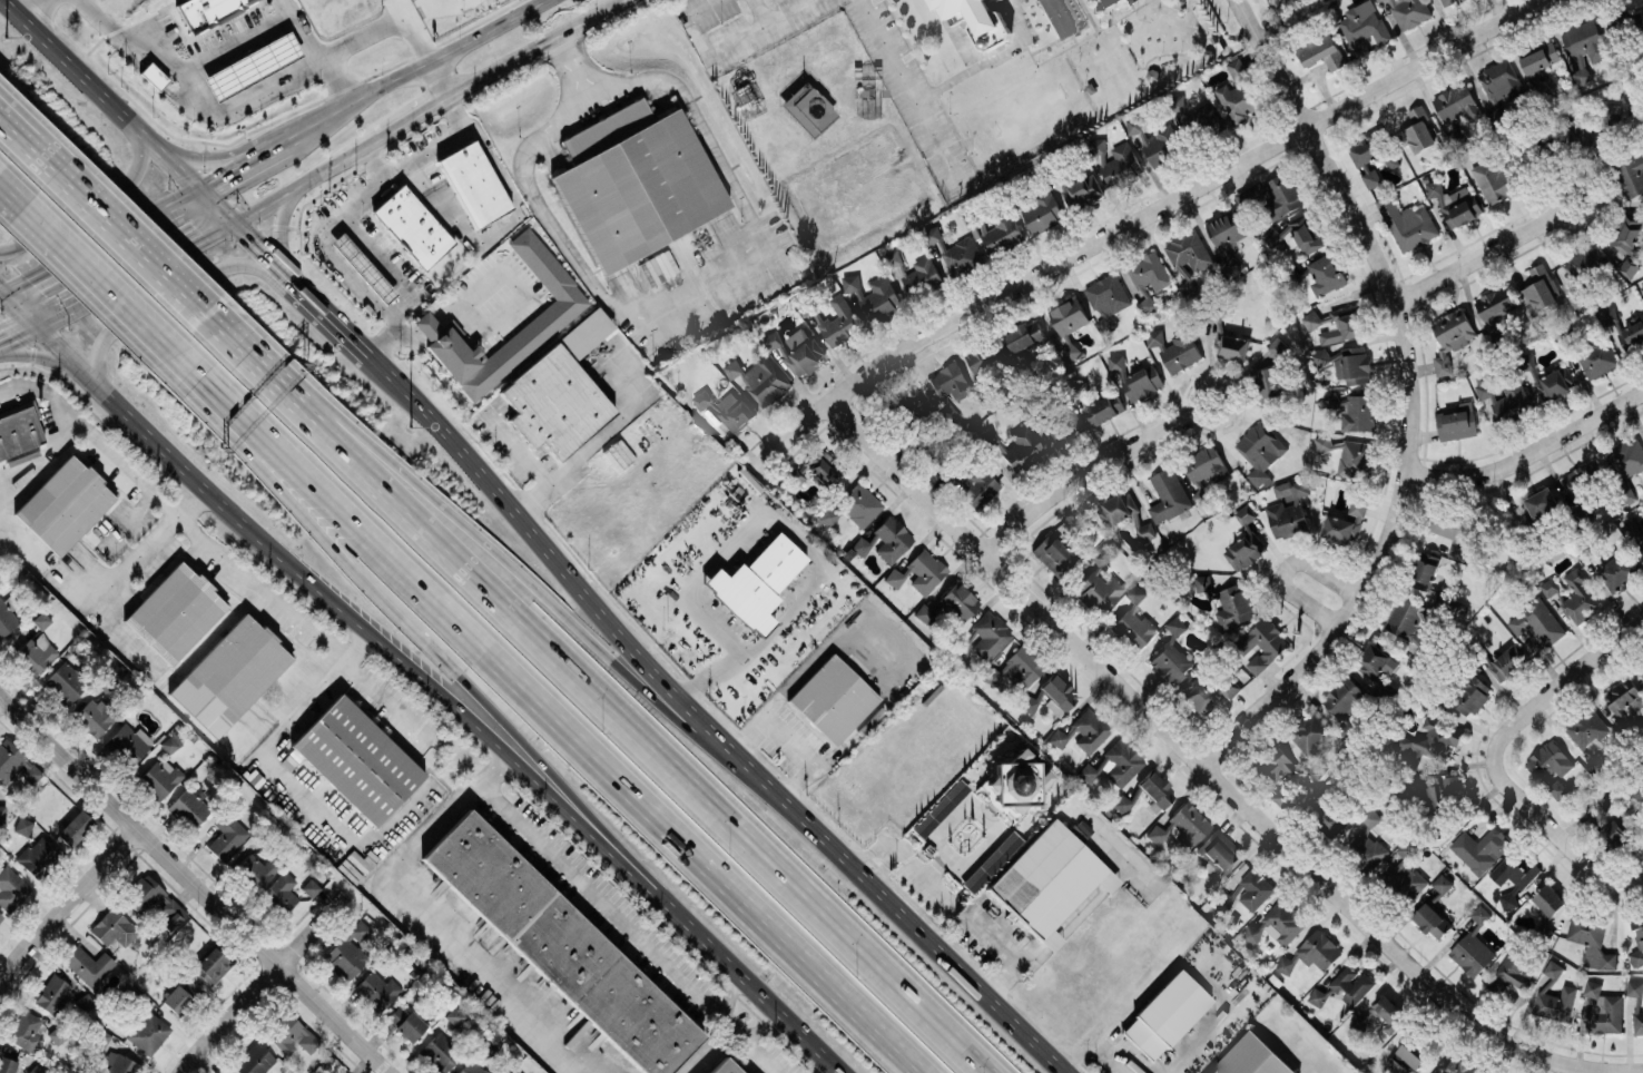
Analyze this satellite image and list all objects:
building: (1380, 0)
building: (1446, 1)
road: (417, 9)
building: (207, 10)
road: (395, 10)
road: (696, 10)
road: (45, 11)
road: (761, 11)
building: (1409, 11)
building: (972, 13)
building: (1062, 16)
building: (1364, 27)
road: (758, 28)
building: (1584, 40)
road: (533, 48)
building: (1322, 52)
road: (568, 57)
building: (1538, 60)
building: (252, 65)
building: (1581, 71)
road: (341, 77)
road: (437, 80)
building: (1501, 81)
road: (249, 92)
building: (1239, 92)
road: (912, 96)
building: (1456, 105)
building: (807, 108)
road: (411, 117)
building: (1196, 119)
road: (289, 124)
building: (1133, 126)
building: (1419, 130)
building: (1590, 135)
road: (154, 139)
road: (270, 145)
building: (1162, 145)
building: (1371, 148)
road: (186, 152)
road: (72, 160)
road: (373, 161)
building: (1121, 164)
road: (71, 173)
building: (1370, 175)
building: (1630, 176)
road: (306, 178)
building: (633, 181)
building: (1494, 181)
traffic signals: (203, 183)
building: (472, 184)
building: (1083, 191)
building: (1272, 196)
road: (101, 200)
building: (1455, 203)
road: (1555, 203)
building: (1042, 211)
road: (338, 213)
road: (511, 217)
road: (1140, 217)
traffic signals: (237, 219)
building: (1407, 223)
road: (279, 224)
building: (411, 227)
building: (1002, 233)
building: (1306, 233)
building: (1227, 234)
building: (1270, 235)
building: (1625, 235)
building: (954, 249)
building: (1188, 257)
road: (1478, 257)
building: (893, 258)
road: (383, 262)
building: (1630, 265)
building: (362, 267)
road: (87, 270)
building: (1326, 274)
building: (1581, 274)
building: (922, 276)
building: (1149, 277)
road: (185, 278)
building: (850, 282)
road: (119, 284)
road: (693, 287)
building: (1541, 287)
building: (1642, 288)
road: (174, 294)
building: (1109, 294)
building: (882, 297)
building: (1495, 303)
road: (458, 308)
building: (555, 313)
road: (336, 314)
building: (1069, 315)
building: (838, 322)
building: (1337, 323)
traffic signals: (42, 327)
building: (1022, 335)
building: (1450, 337)
road: (385, 338)
building: (1231, 345)
building: (1278, 346)
building: (1174, 348)
building: (1069, 351)
building: (796, 352)
building: (1596, 357)
building: (1317, 358)
building: (981, 360)
road: (51, 361)
building: (1351, 364)
road: (277, 368)
building: (761, 378)
building: (1135, 378)
building: (950, 381)
building: (1551, 382)
road: (1191, 395)
building: (702, 397)
road: (1409, 397)
building: (1505, 398)
building: (553, 402)
building: (913, 404)
building: (1104, 408)
building: (1351, 410)
building: (736, 412)
building: (947, 413)
building: (1456, 421)
building: (1063, 425)
building: (19, 429)
road: (600, 434)
road: (91, 435)
building: (1322, 442)
building: (1020, 445)
building: (1260, 450)
road: (519, 451)
road: (1529, 452)
building: (1355, 459)
building: (1625, 462)
building: (815, 467)
building: (1204, 467)
road: (1083, 474)
building: (1584, 476)
building: (975, 485)
building: (1168, 494)
building: (1541, 502)
building: (63, 503)
building: (860, 503)
building: (1118, 506)
building: (1357, 506)
building: (1289, 508)
building: (1246, 513)
building: (827, 514)
building: (1342, 526)
road: (741, 528)
building: (1147, 530)
building: (1636, 532)
building: (1453, 533)
building: (884, 540)
building: (1246, 549)
building: (1051, 551)
road: (301, 569)
road: (515, 569)
road: (1283, 570)
building: (918, 571)
building: (1426, 571)
building: (1617, 571)
road: (117, 575)
building: (1099, 580)
building: (755, 581)
road: (260, 582)
building: (1200, 582)
building: (1549, 585)
road: (581, 591)
building: (1580, 597)
road: (386, 601)
building: (948, 604)
building: (1233, 606)
building: (175, 610)
building: (7, 616)
building: (41, 619)
building: (1132, 619)
building: (1537, 621)
building: (1408, 623)
building: (988, 634)
road: (832, 643)
building: (1261, 644)
building: (35, 651)
building: (1171, 654)
building: (1376, 660)
road: (559, 661)
building: (1507, 662)
building: (1016, 666)
building: (1642, 669)
building: (229, 672)
building: (65, 680)
building: (1229, 687)
building: (1383, 690)
building: (1194, 691)
building: (1056, 693)
building: (1470, 696)
building: (1624, 697)
building: (832, 698)
road: (553, 710)
building: (96, 713)
road: (1519, 720)
building: (1587, 730)
building: (1082, 731)
road: (790, 736)
building: (1311, 739)
building: (128, 740)
building: (1434, 740)
building: (169, 742)
building: (356, 758)
building: (1122, 760)
building: (14, 762)
building: (1549, 767)
building: (1282, 768)
building: (1090, 769)
road: (1208, 771)
road: (281, 772)
building: (159, 776)
building: (1014, 781)
building: (1453, 785)
building: (1154, 789)
building: (1639, 793)
building: (1282, 796)
building: (1427, 797)
building: (1121, 801)
building: (188, 806)
building: (939, 807)
building: (2, 813)
building: (1587, 816)
building: (1332, 823)
building: (22, 824)
building: (1181, 825)
building: (73, 826)
building: (226, 834)
building: (1613, 835)
building: (1368, 838)
building: (1479, 848)
building: (1219, 850)
building: (37, 854)
road: (905, 856)
building: (991, 860)
road: (885, 864)
building: (257, 867)
building: (1406, 869)
road: (1604, 870)
building: (1513, 876)
building: (1047, 879)
building: (10, 884)
road: (195, 884)
building: (309, 886)
building: (1439, 887)
building: (281, 890)
building: (1252, 890)
building: (1548, 899)
building: (153, 900)
road: (67, 902)
road: (421, 914)
building: (1480, 914)
building: (0, 916)
building: (1432, 921)
building: (1279, 922)
road: (628, 926)
building: (116, 929)
road: (312, 931)
building: (1592, 941)
building: (1637, 941)
road: (939, 944)
road: (1015, 947)
building: (347, 951)
building: (1311, 953)
building: (1472, 953)
road: (725, 957)
building: (88, 963)
building: (211, 963)
building: (1512, 972)
road: (893, 984)
building: (1351, 984)
building: (1634, 987)
building: (376, 988)
building: (180, 995)
road: (728, 995)
building: (1317, 995)
building: (60, 996)
building: (1554, 996)
building: (1602, 1008)
building: (1386, 1012)
building: (1162, 1014)
building: (454, 1015)
road: (228, 1018)
building: (1359, 1021)
building: (1639, 1021)
building: (405, 1022)
road: (758, 1025)
building: (27, 1031)
building: (147, 1031)
building: (57, 1033)
road: (1184, 1034)
building: (292, 1035)
road: (709, 1050)
building: (439, 1051)
building: (1250, 1057)
building: (1405, 1059)
building: (254, 1060)
building: (7, 1064)
building: (120, 1064)
building: (724, 1066)
building: (1460, 1066)
building: (38, 1067)
building: (471, 1067)
road: (1636, 1070)
building: (515, 1071)
road: (929, 1072)
road: (1631, 1072)

